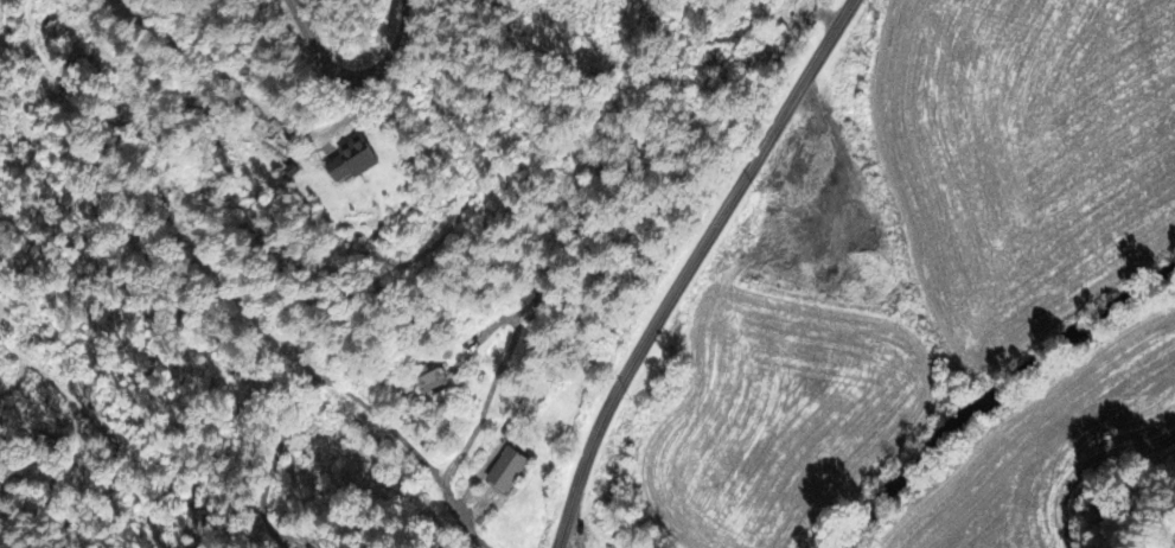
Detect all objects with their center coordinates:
road: (359, 76)
building: (355, 158)
road: (690, 267)
road: (242, 301)
building: (509, 467)

